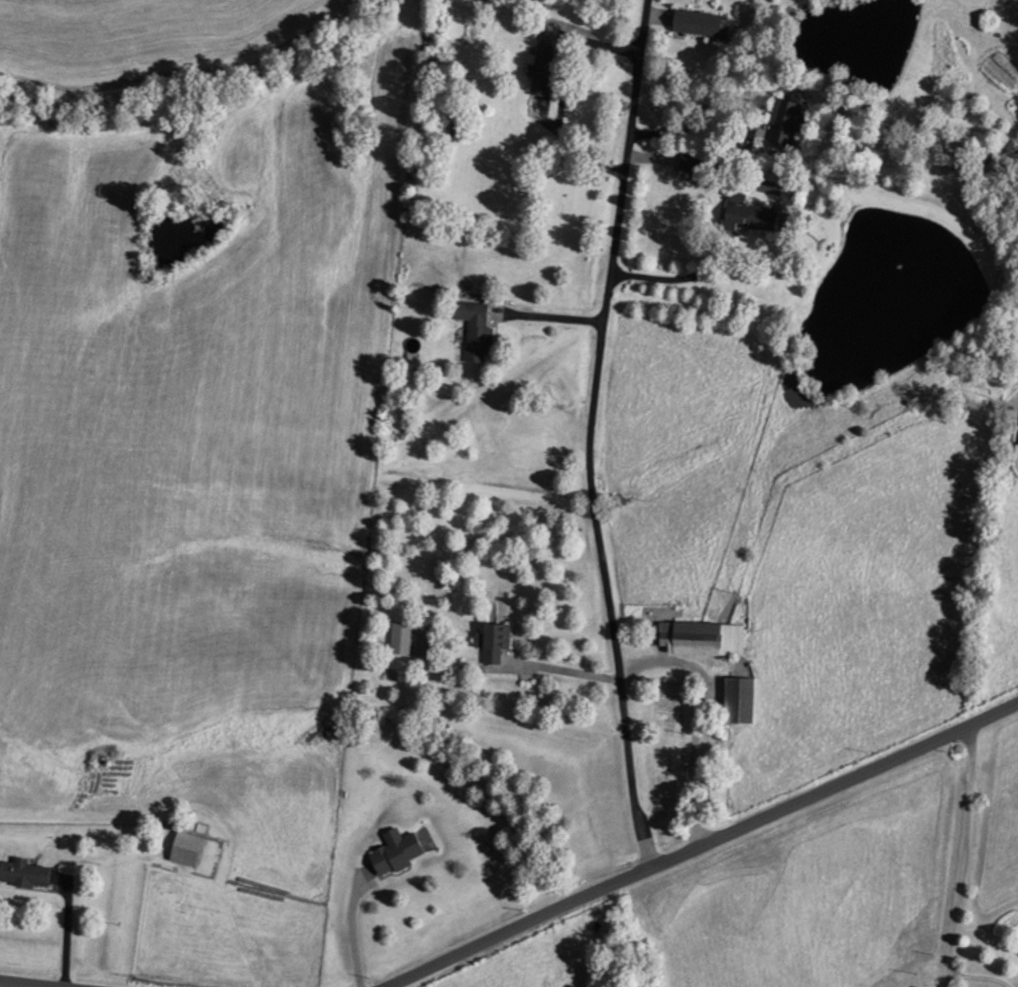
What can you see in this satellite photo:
building: (1017, 7)
building: (702, 21)
building: (545, 67)
building: (784, 121)
building: (699, 166)
building: (756, 214)
road: (678, 278)
building: (477, 328)
road: (588, 434)
building: (402, 637)
building: (703, 638)
building: (495, 642)
road: (565, 670)
building: (744, 700)
road: (700, 843)
building: (189, 848)
building: (398, 852)
road: (959, 856)
building: (27, 873)
road: (26, 984)

